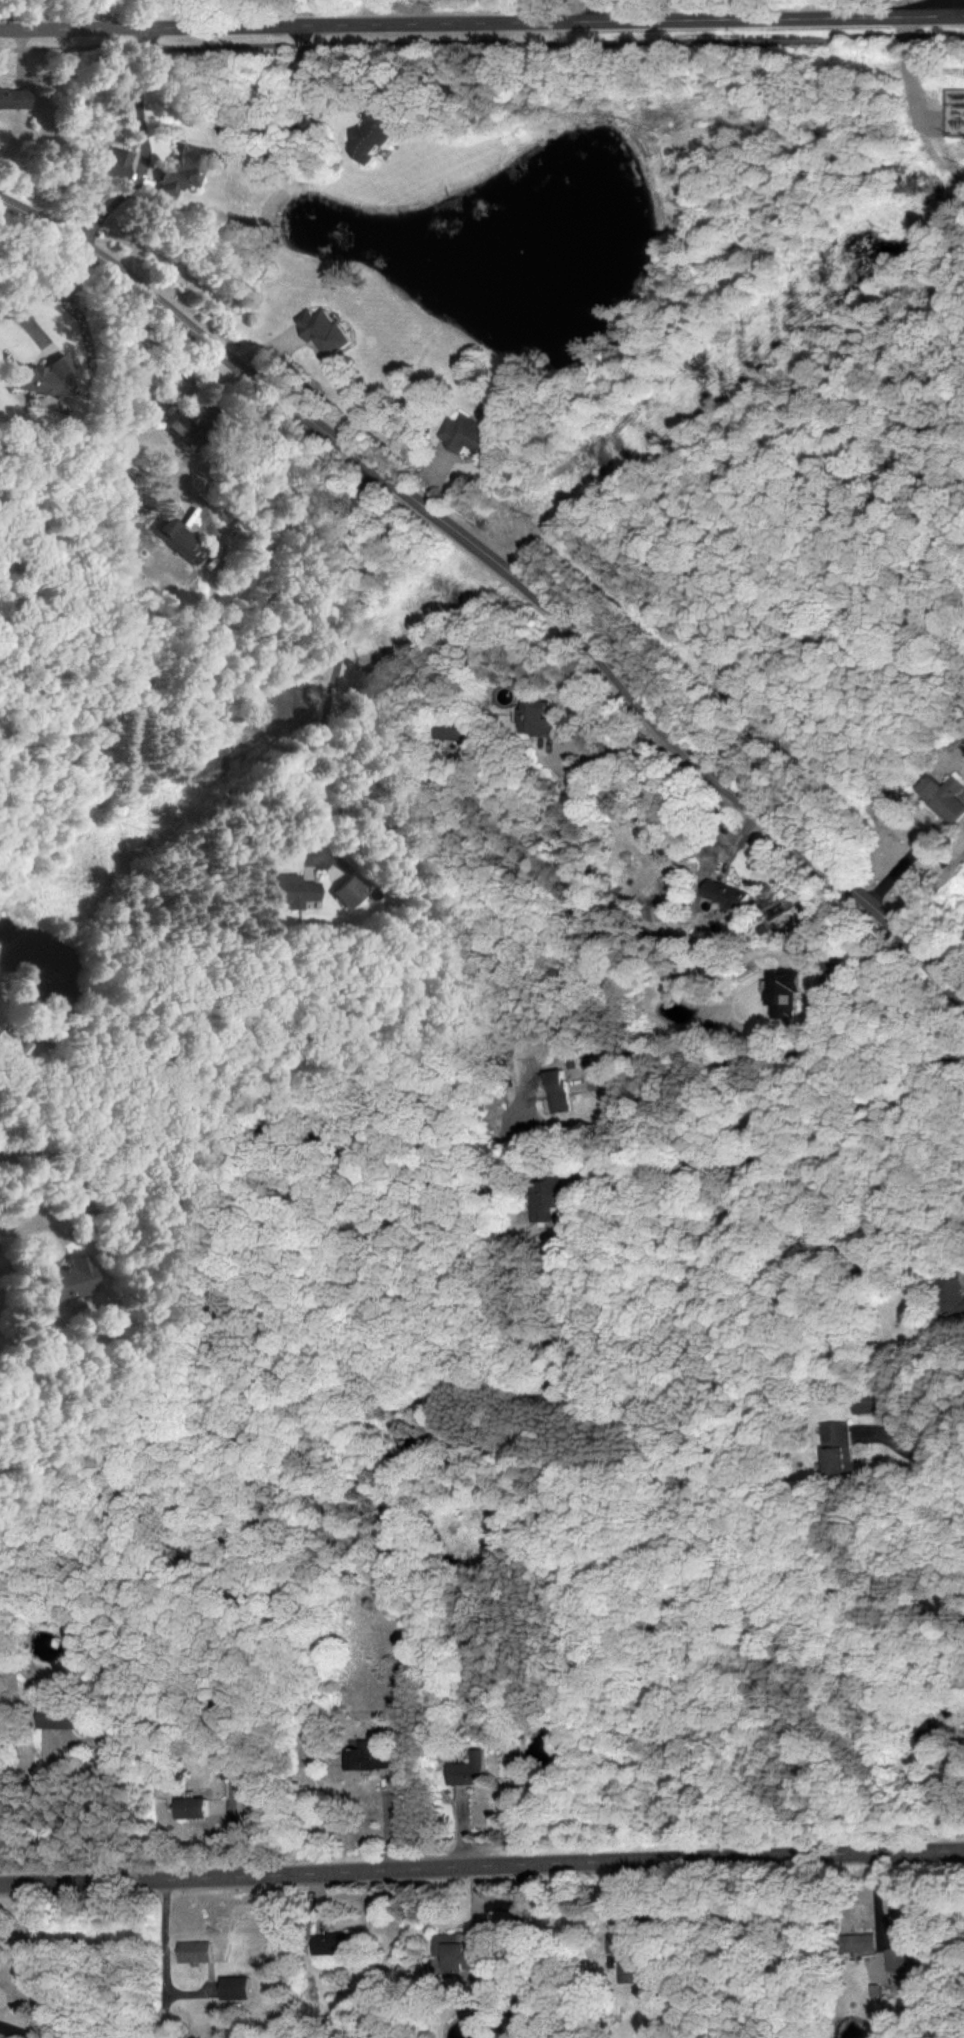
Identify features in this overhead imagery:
road: (961, 7)
road: (595, 10)
road: (482, 21)
road: (482, 42)
building: (11, 98)
building: (366, 139)
road: (146, 145)
building: (111, 163)
building: (178, 171)
road: (51, 288)
building: (318, 330)
building: (39, 377)
building: (180, 419)
building: (464, 434)
building: (174, 538)
road: (506, 572)
road: (339, 652)
building: (535, 718)
building: (454, 731)
road: (579, 776)
building: (943, 796)
road: (929, 886)
building: (287, 890)
building: (345, 893)
building: (721, 894)
road: (854, 963)
building: (782, 994)
building: (5, 1046)
road: (775, 1051)
building: (554, 1091)
road: (775, 1157)
road: (32, 1195)
building: (550, 1196)
road: (20, 1217)
building: (68, 1277)
building: (951, 1294)
building: (868, 1401)
building: (836, 1448)
road: (927, 1455)
building: (55, 1719)
building: (367, 1757)
building: (464, 1770)
building: (186, 1807)
road: (481, 1865)
building: (855, 1942)
building: (614, 1943)
building: (328, 1944)
building: (452, 1951)
building: (192, 1952)
building: (894, 1959)
building: (629, 1967)
building: (234, 1988)
road: (21, 2028)

